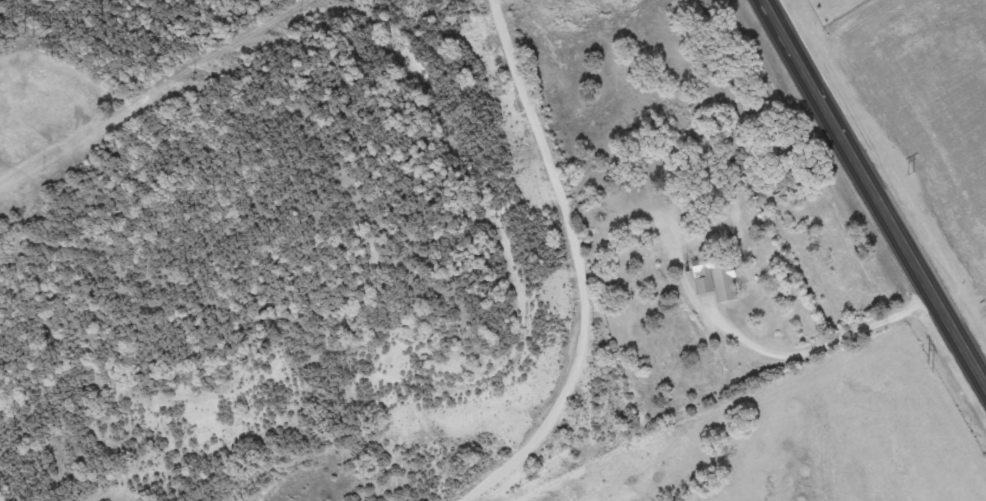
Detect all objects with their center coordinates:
power tower: (27, 36)
road: (874, 193)
building: (717, 276)
power tower: (929, 367)

